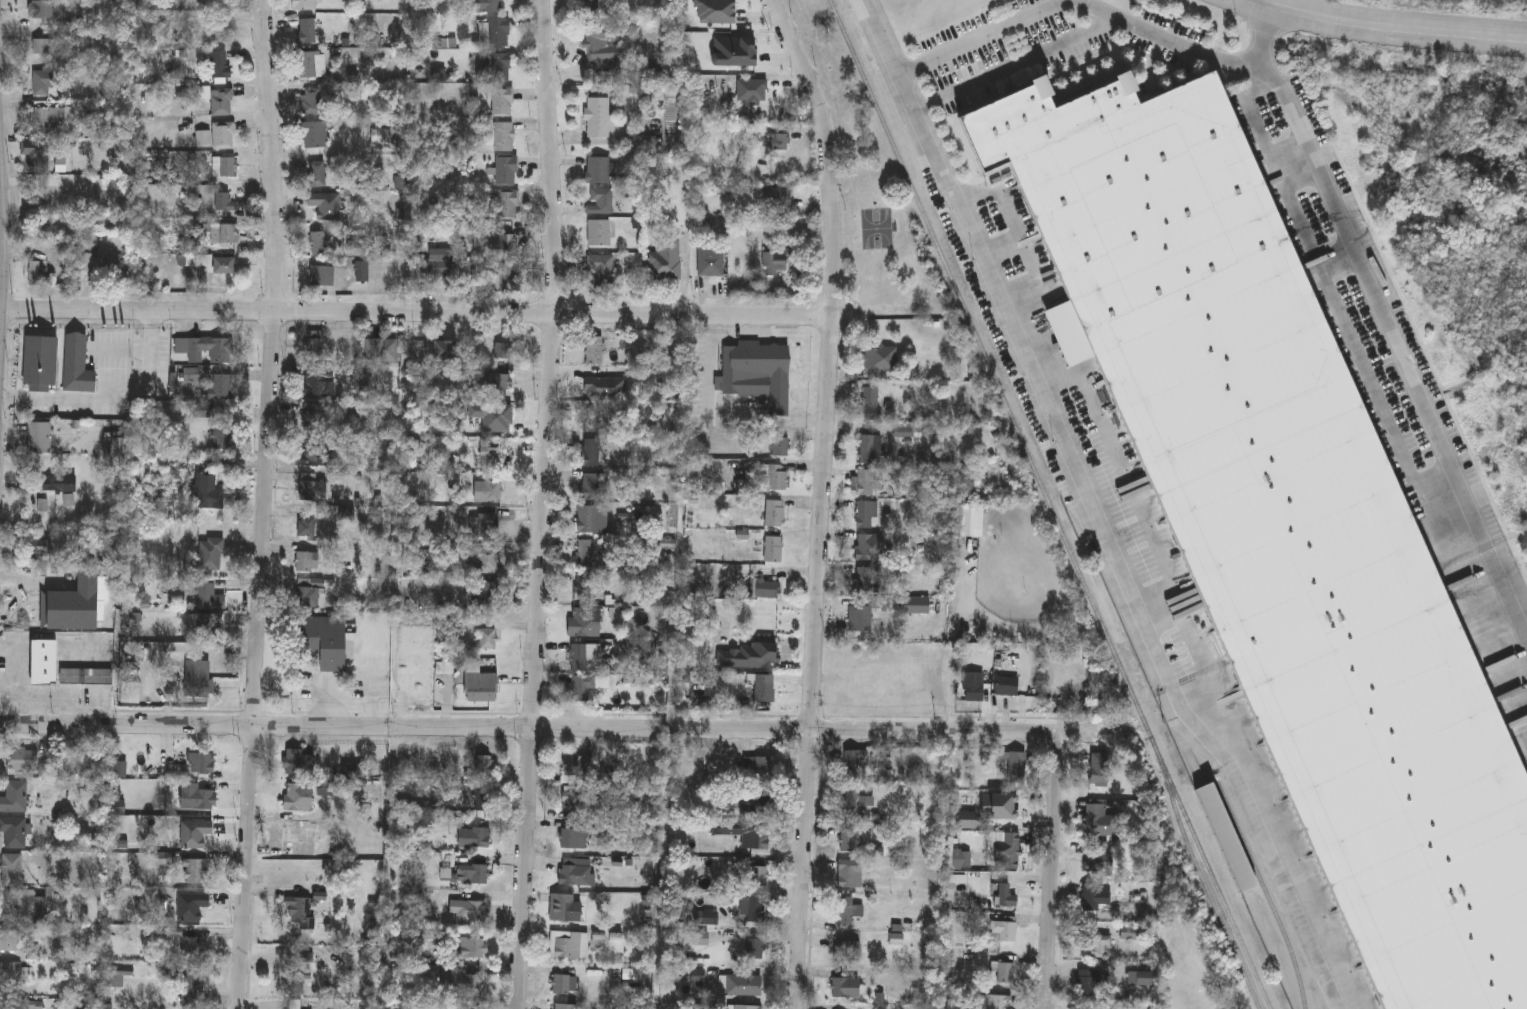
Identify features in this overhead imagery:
building: (307, 6)
building: (489, 6)
building: (43, 10)
road: (1384, 31)
building: (307, 33)
building: (221, 34)
building: (495, 34)
road: (1266, 34)
road: (880, 37)
road: (981, 37)
road: (1165, 39)
building: (47, 48)
building: (604, 49)
road: (1015, 65)
building: (313, 67)
building: (501, 68)
building: (221, 69)
building: (46, 82)
building: (756, 88)
building: (313, 102)
building: (222, 104)
building: (502, 104)
building: (54, 118)
building: (599, 119)
building: (316, 136)
building: (218, 137)
building: (381, 138)
building: (504, 138)
building: (37, 157)
building: (225, 168)
building: (602, 171)
building: (507, 172)
building: (317, 176)
building: (777, 198)
building: (600, 202)
building: (225, 203)
road: (1333, 205)
building: (507, 206)
building: (326, 207)
building: (599, 234)
building: (225, 235)
building: (319, 245)
building: (507, 246)
building: (666, 260)
building: (712, 262)
building: (776, 264)
building: (101, 265)
building: (438, 265)
building: (223, 266)
building: (601, 274)
building: (36, 275)
building: (320, 277)
building: (508, 278)
road: (990, 282)
road: (416, 314)
building: (315, 345)
building: (218, 351)
building: (383, 352)
building: (502, 352)
building: (596, 352)
building: (442, 353)
building: (880, 360)
building: (46, 363)
building: (78, 367)
building: (759, 375)
building: (494, 382)
building: (320, 387)
building: (223, 389)
road: (113, 396)
building: (871, 405)
building: (206, 412)
building: (490, 418)
building: (314, 419)
building: (592, 420)
building: (39, 439)
building: (223, 440)
building: (781, 448)
building: (872, 451)
building: (592, 455)
building: (494, 458)
building: (321, 459)
building: (775, 479)
building: (867, 484)
road: (1467, 485)
building: (60, 486)
building: (592, 487)
building: (313, 490)
building: (209, 493)
building: (488, 493)
road: (821, 499)
road: (265, 504)
road: (543, 504)
railway: (1051, 504)
building: (775, 515)
building: (867, 517)
building: (591, 521)
building: (1285, 524)
building: (486, 527)
building: (308, 528)
building: (43, 548)
building: (871, 549)
building: (774, 550)
building: (586, 555)
building: (212, 556)
building: (486, 560)
building: (306, 563)
building: (869, 579)
building: (585, 589)
building: (766, 590)
building: (312, 595)
building: (489, 596)
building: (210, 598)
building: (917, 606)
building: (77, 607)
building: (862, 620)
building: (587, 624)
building: (211, 628)
building: (488, 641)
building: (327, 643)
building: (754, 658)
building: (582, 659)
building: (45, 663)
building: (87, 678)
building: (199, 679)
building: (480, 686)
building: (581, 690)
building: (765, 690)
building: (1003, 690)
building: (131, 693)
building: (973, 693)
road: (535, 727)
road: (1216, 747)
building: (23, 761)
building: (298, 763)
building: (201, 764)
building: (856, 766)
building: (485, 767)
building: (1099, 767)
building: (759, 768)
building: (575, 769)
building: (1015, 769)
building: (15, 798)
building: (198, 799)
building: (296, 802)
building: (857, 802)
building: (484, 803)
building: (576, 803)
building: (759, 807)
building: (1096, 820)
building: (14, 833)
building: (195, 834)
building: (753, 838)
building: (479, 840)
building: (573, 841)
building: (849, 843)
building: (1004, 852)
building: (1100, 865)
building: (12, 871)
road: (1063, 871)
building: (197, 873)
building: (578, 873)
building: (851, 875)
building: (759, 878)
railway: (1204, 882)
railway: (1266, 892)
building: (1095, 899)
building: (24, 906)
building: (192, 908)
building: (755, 910)
building: (470, 911)
building: (847, 912)
building: (299, 913)
building: (568, 913)
building: (1002, 933)
building: (9, 942)
building: (570, 947)
building: (193, 948)
building: (1097, 949)
building: (756, 951)
building: (472, 952)
building: (849, 952)
building: (1005, 974)
building: (11, 980)
building: (116, 980)
building: (1138, 980)
building: (193, 984)
building: (296, 984)
building: (462, 986)
building: (745, 987)
building: (1087, 988)
building: (846, 989)
building: (992, 1003)
building: (20, 1005)
building: (296, 1006)
building: (566, 1008)

